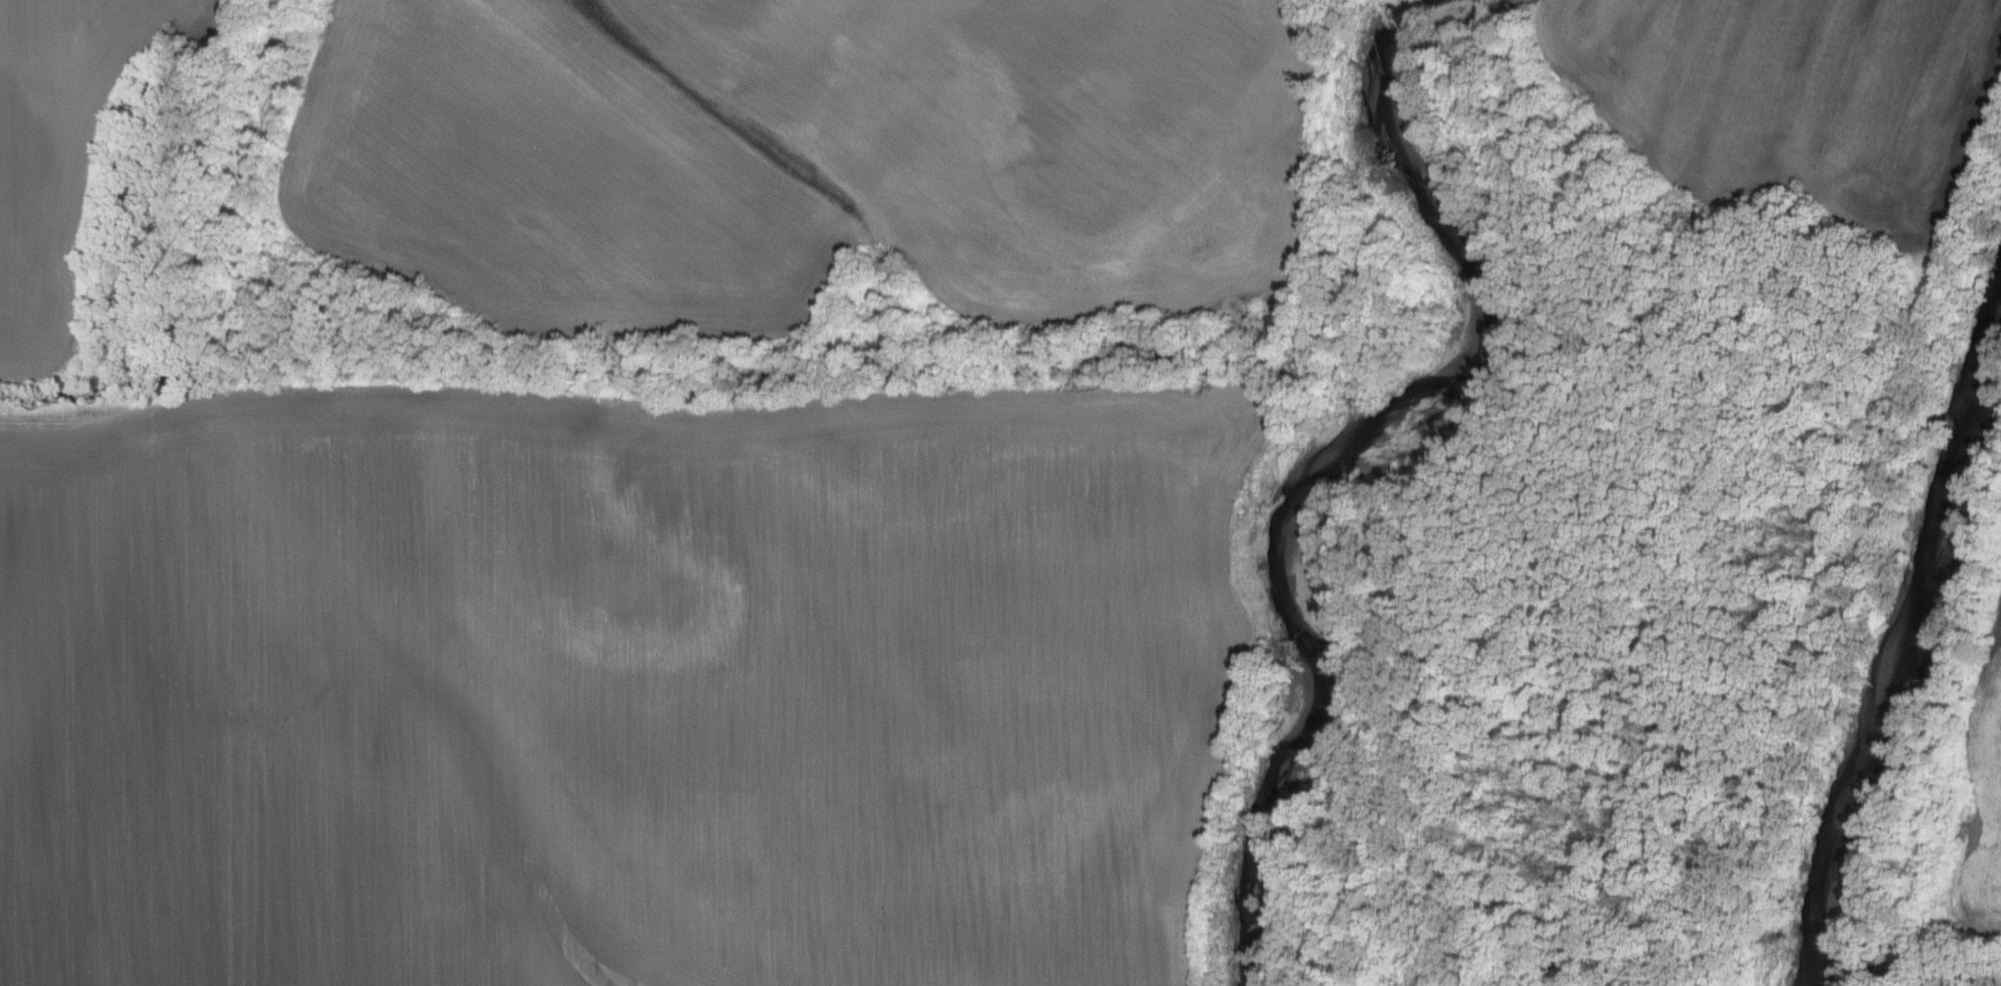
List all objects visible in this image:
river: (1331, 428)
river: (1822, 871)

